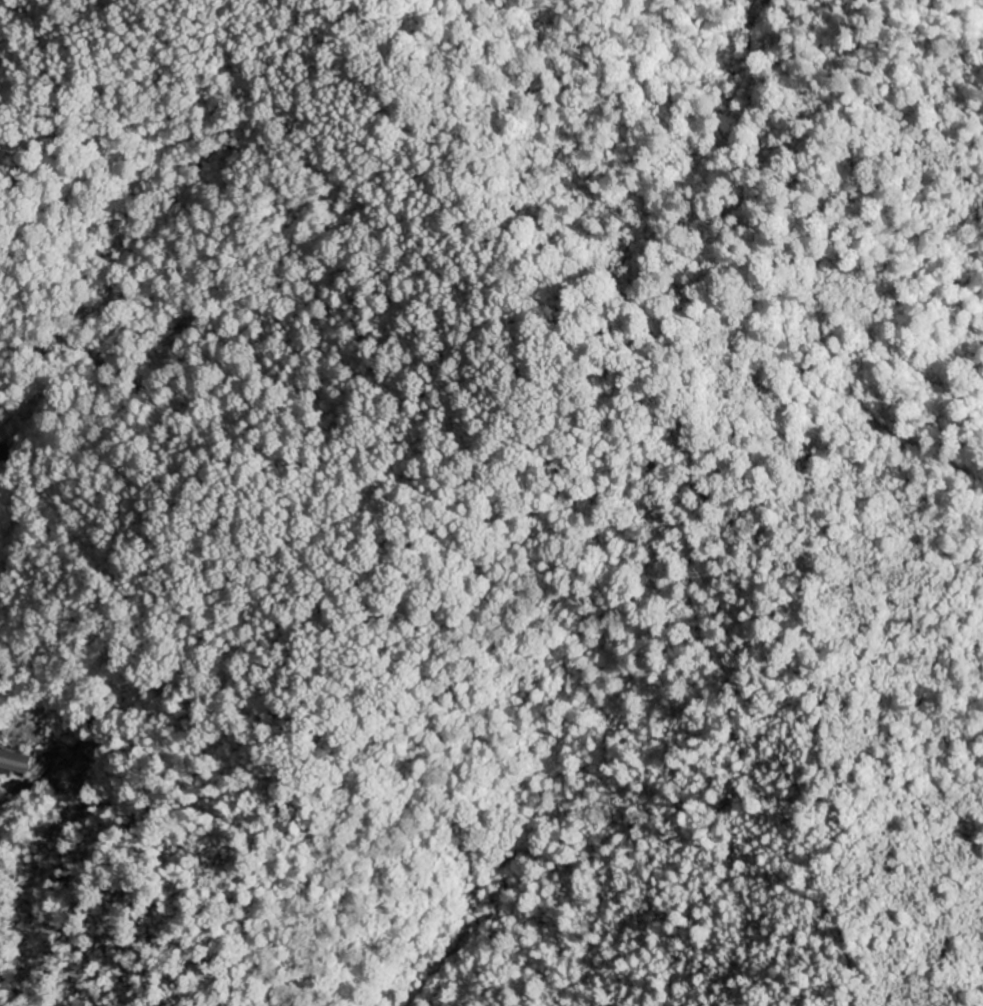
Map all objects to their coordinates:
building: (13, 763)

